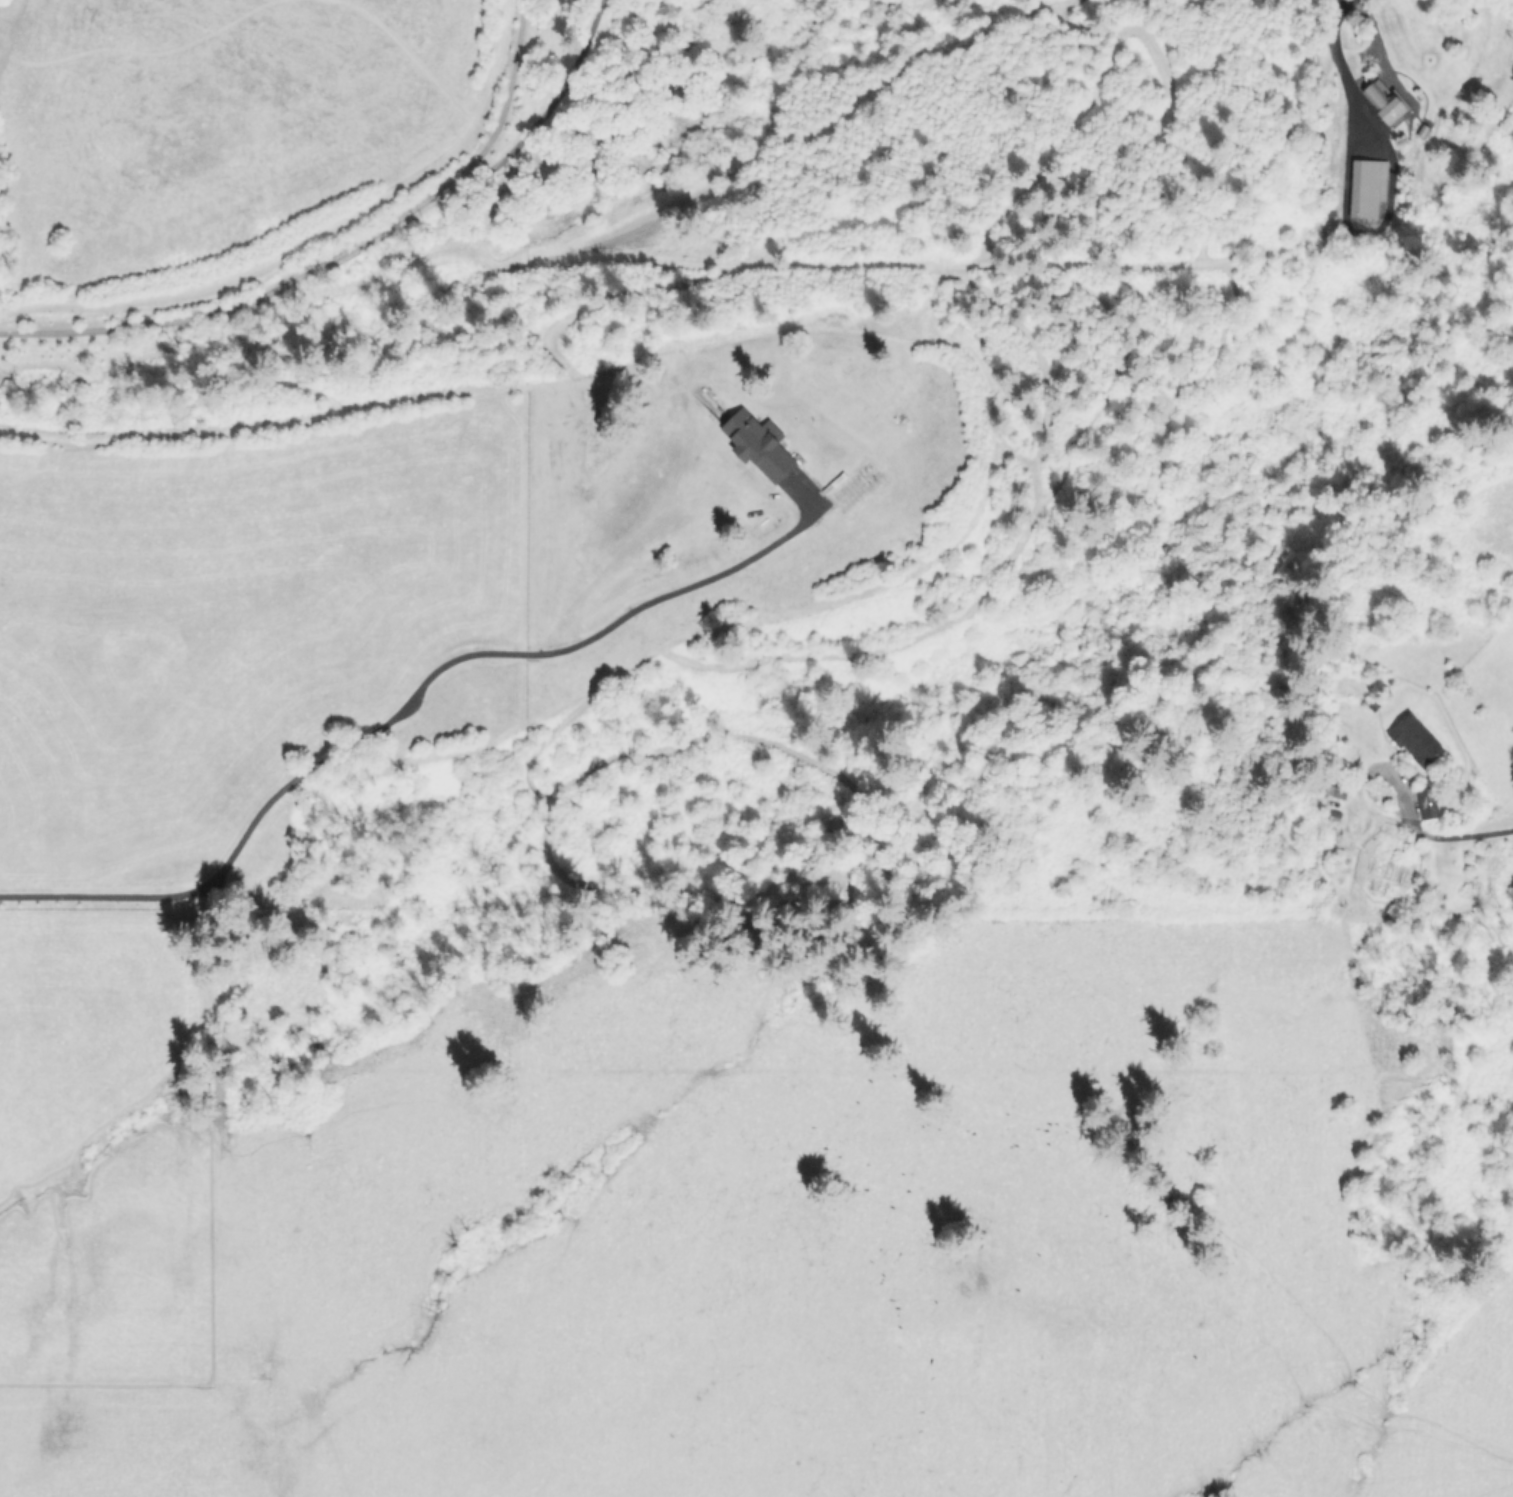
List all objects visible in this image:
building: (1382, 103)
building: (1365, 186)
road: (350, 248)
building: (757, 443)
road: (398, 710)
building: (1414, 739)
building: (1334, 790)
building: (1426, 801)
road: (1469, 834)

